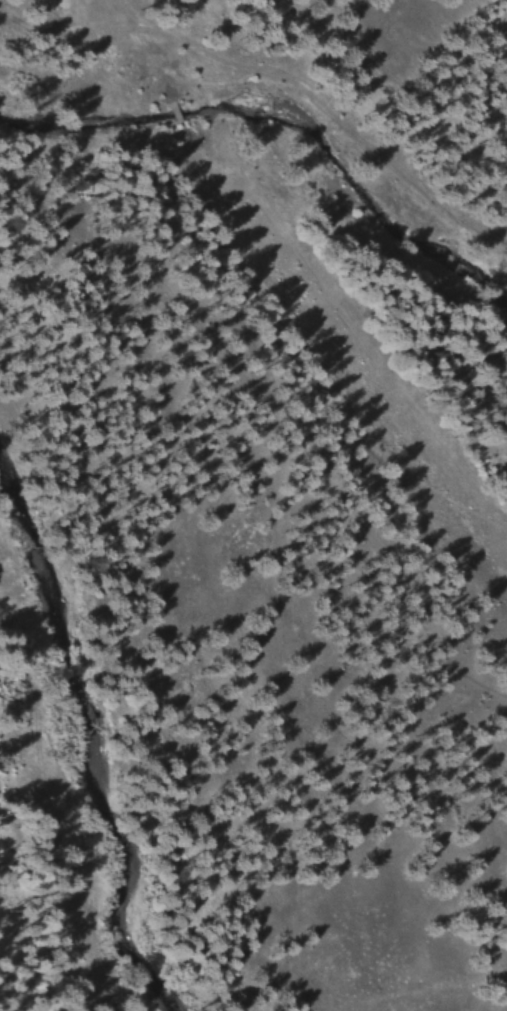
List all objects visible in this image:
road: (287, 473)

